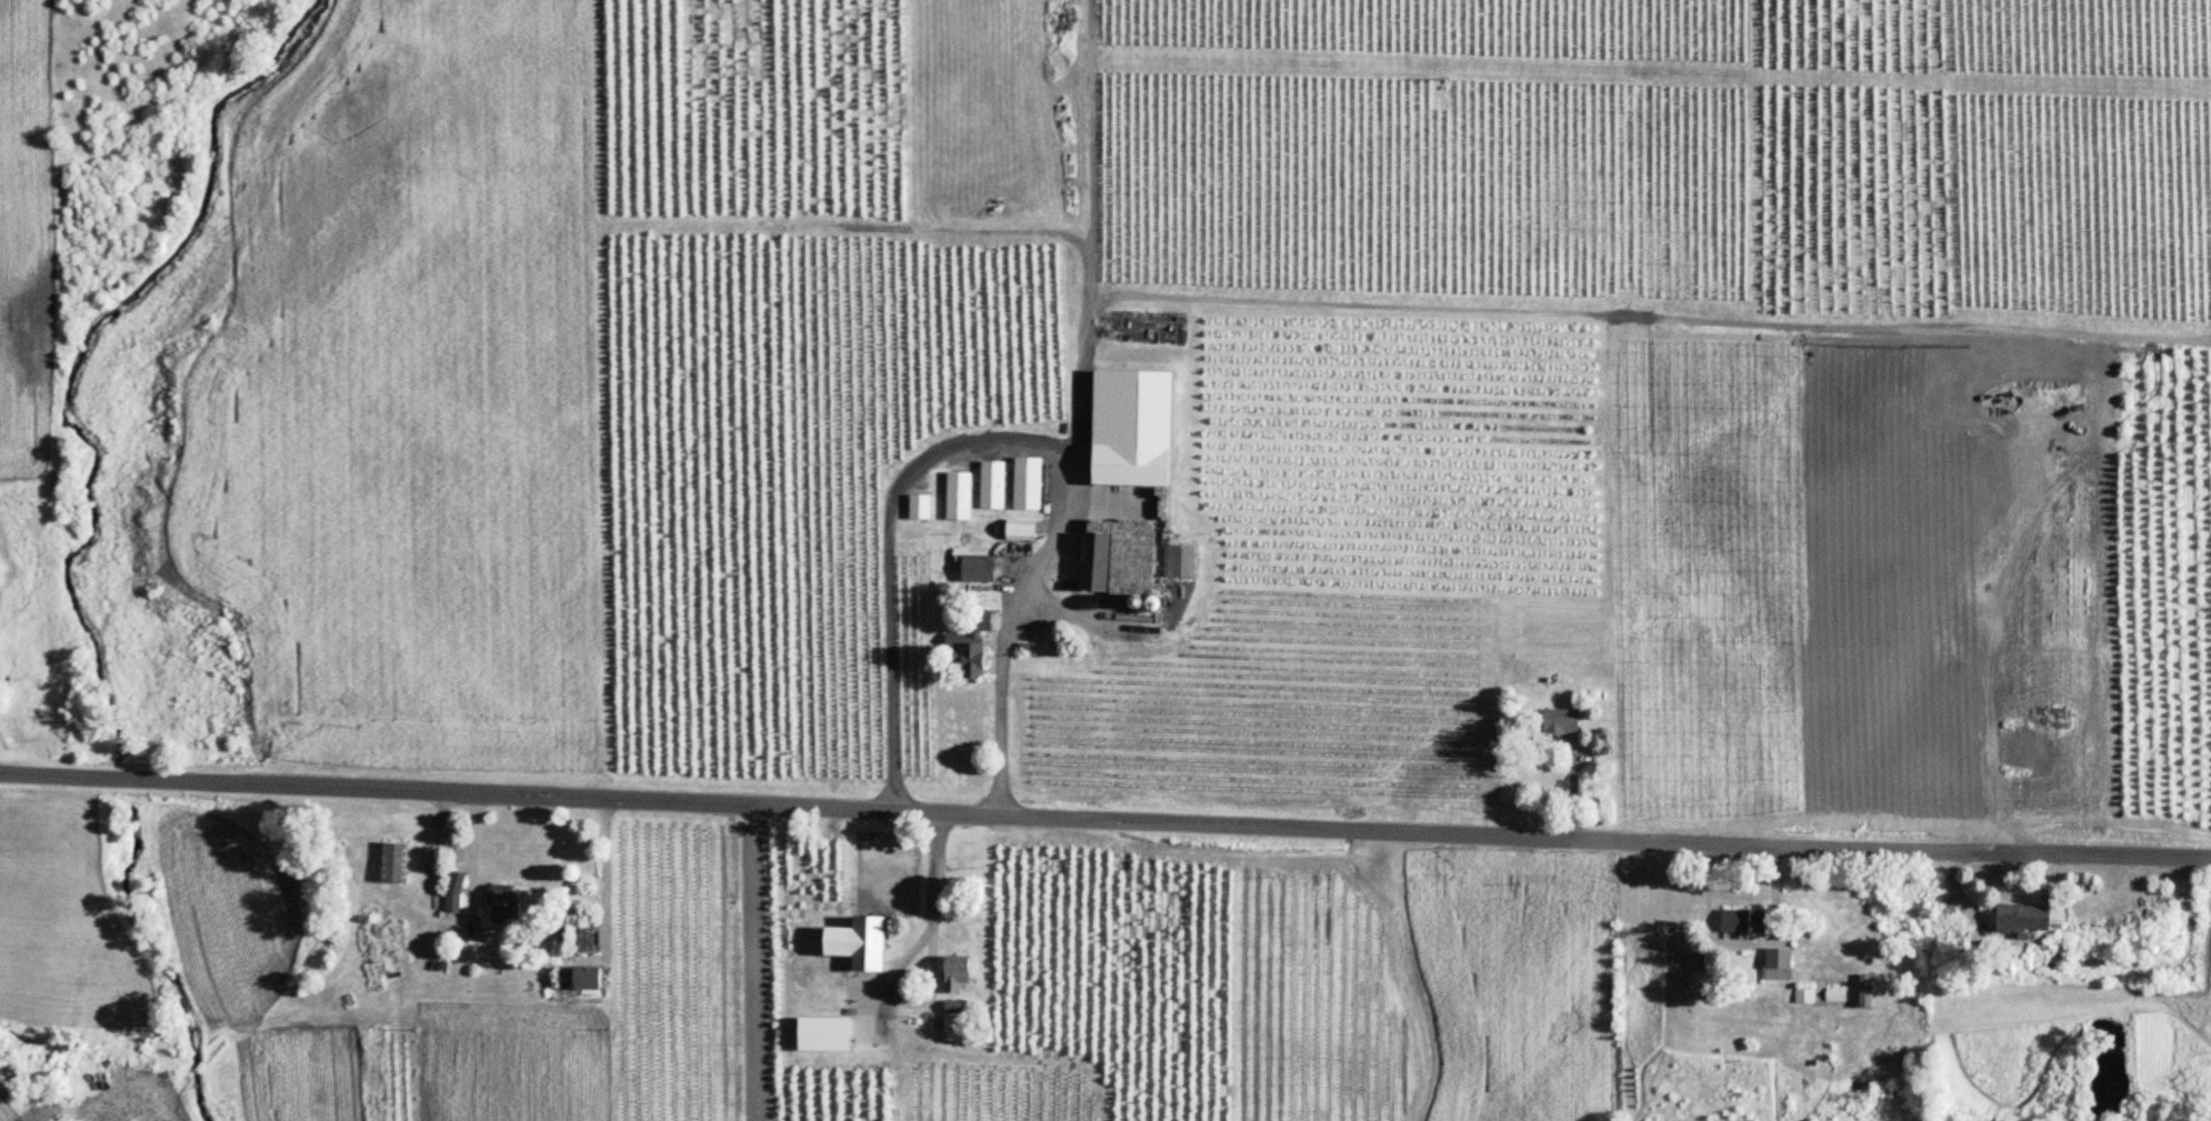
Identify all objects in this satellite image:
road: (999, 438)
building: (1131, 468)
building: (989, 492)
building: (1016, 492)
building: (1049, 493)
building: (960, 498)
building: (1443, 502)
building: (920, 509)
building: (1021, 533)
building: (1094, 563)
building: (1180, 563)
building: (979, 570)
building: (972, 651)
building: (1561, 723)
road: (1104, 819)
road: (467, 853)
building: (394, 863)
building: (456, 893)
building: (506, 908)
building: (2023, 918)
building: (1743, 921)
building: (858, 942)
road: (929, 959)
building: (1779, 965)
building: (956, 972)
building: (587, 978)
building: (1865, 991)
building: (1805, 995)
building: (1837, 995)
building: (956, 1007)
building: (956, 1031)
building: (823, 1034)

